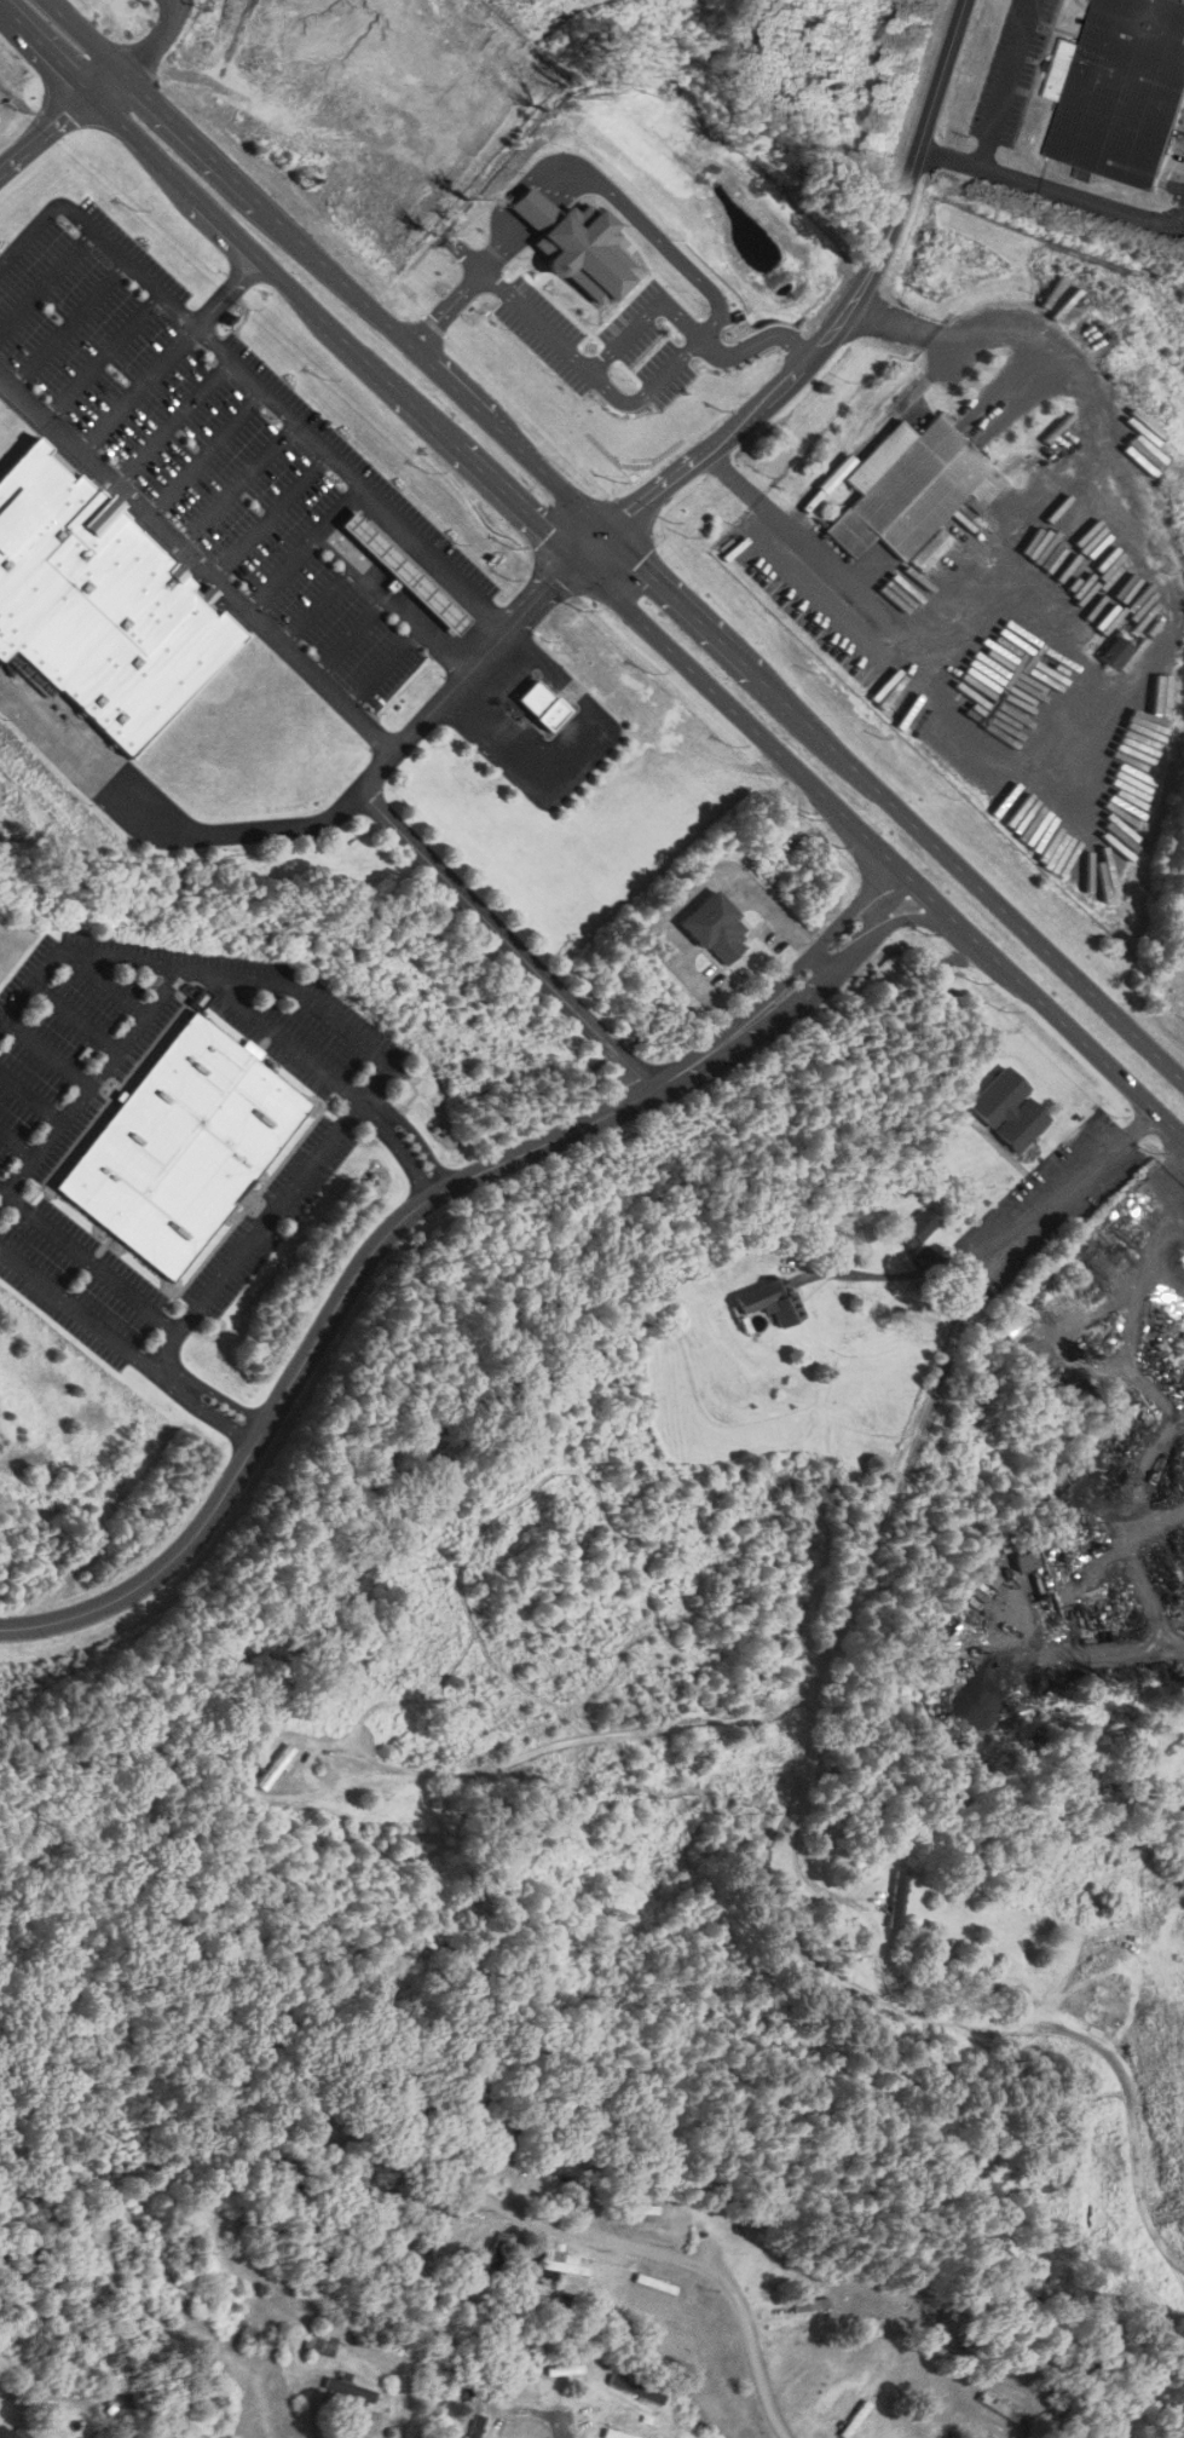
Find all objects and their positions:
road: (168, 6)
road: (151, 41)
building: (1122, 93)
road: (995, 111)
road: (58, 122)
road: (514, 185)
road: (606, 204)
road: (209, 231)
road: (98, 234)
building: (561, 244)
road: (262, 273)
road: (47, 278)
road: (218, 301)
road: (444, 310)
road: (834, 322)
road: (68, 327)
road: (689, 334)
road: (567, 355)
road: (99, 356)
road: (135, 391)
road: (169, 422)
parking lot: (184, 439)
road: (202, 454)
road: (353, 477)
road: (235, 485)
building: (907, 491)
road: (268, 517)
road: (616, 537)
road: (302, 548)
road: (197, 567)
road: (590, 571)
building: (404, 574)
road: (314, 605)
road: (391, 605)
building: (93, 606)
road: (348, 636)
building: (1119, 650)
road: (381, 667)
road: (1131, 680)
road: (496, 682)
building: (535, 698)
road: (576, 757)
road: (318, 820)
road: (687, 893)
building: (715, 929)
road: (507, 941)
road: (207, 970)
road: (100, 984)
road: (71, 1015)
road: (284, 1037)
road: (45, 1050)
road: (89, 1078)
road: (28, 1095)
building: (1010, 1112)
road: (15, 1139)
road: (420, 1140)
building: (181, 1147)
road: (404, 1151)
road: (409, 1216)
building: (917, 1229)
road: (258, 1232)
road: (999, 1244)
road: (88, 1263)
building: (767, 1304)
road: (83, 1316)
road: (221, 1397)
road: (210, 1416)
building: (1028, 1561)
building: (990, 1580)
road: (803, 1694)
building: (275, 1768)
building: (411, 1837)
building: (897, 1898)
building: (1157, 1933)
road: (876, 1940)
building: (635, 2209)
building: (440, 2236)
road: (665, 2249)
building: (562, 2270)
building: (655, 2286)
building: (808, 2306)
building: (319, 2345)
building: (566, 2370)
building: (814, 2387)
building: (352, 2391)
building: (744, 2420)
building: (370, 2421)
road: (1001, 2426)
building: (478, 2427)
road: (565, 2427)
building: (6, 2433)
road: (346, 2434)
building: (616, 2434)

